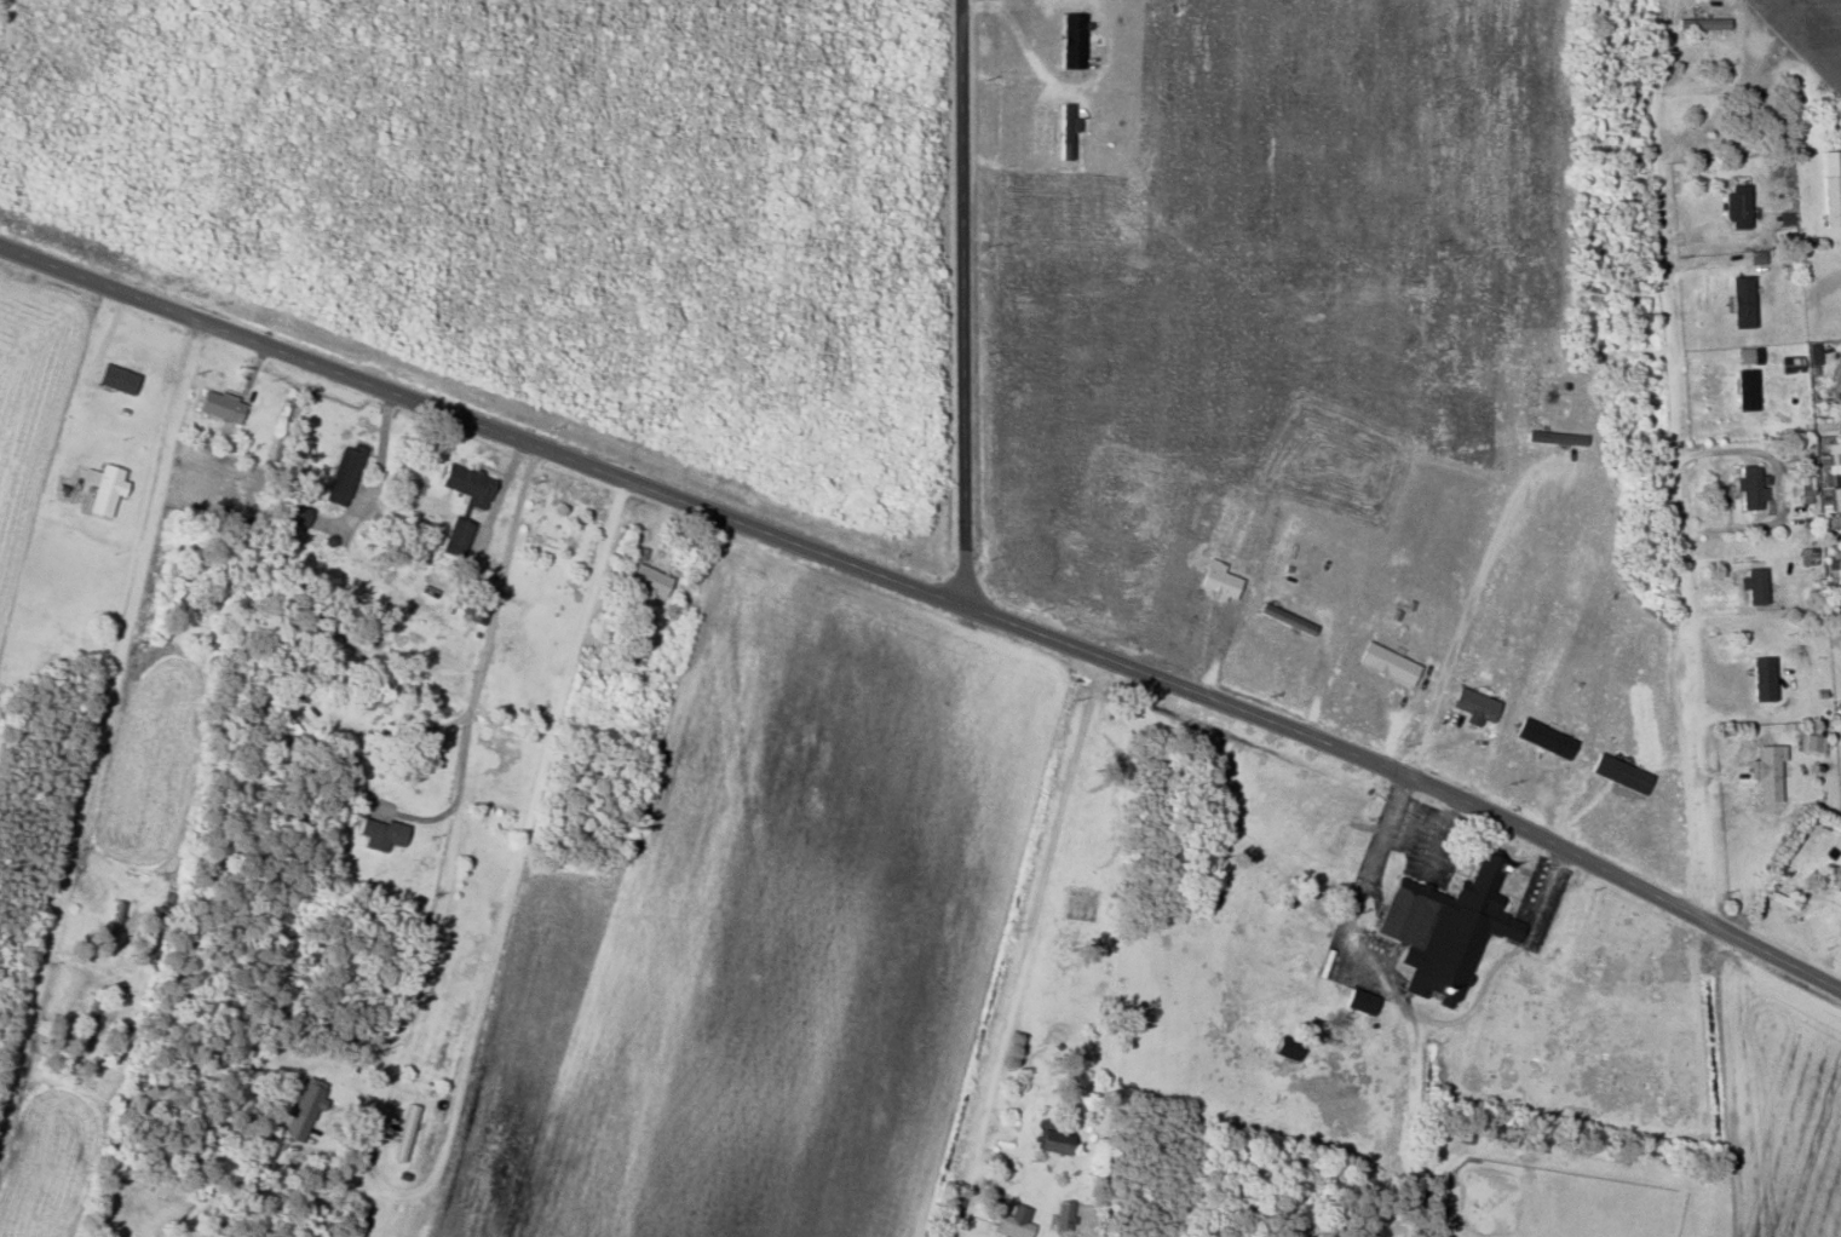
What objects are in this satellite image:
building: (1701, 23)
building: (1070, 40)
building: (1064, 130)
building: (1830, 186)
building: (1734, 205)
building: (1783, 223)
building: (1739, 300)
road: (961, 304)
building: (1747, 355)
building: (115, 378)
building: (1744, 389)
building: (218, 404)
road: (483, 426)
building: (1553, 437)
building: (340, 474)
building: (1829, 476)
building: (464, 483)
building: (1803, 484)
building: (1749, 485)
building: (100, 487)
road: (1680, 499)
building: (292, 513)
building: (456, 535)
building: (1805, 554)
building: (646, 580)
building: (1753, 585)
building: (1283, 617)
building: (1385, 662)
building: (1761, 678)
building: (1471, 703)
road: (97, 706)
building: (1541, 737)
building: (1810, 742)
building: (1765, 772)
road: (1411, 779)
road: (460, 788)
building: (378, 833)
road: (1028, 917)
building: (1440, 928)
building: (1840, 948)
road: (1498, 965)
road: (1394, 996)
building: (1357, 1000)
building: (1284, 1046)
building: (299, 1112)
building: (403, 1132)
building: (1051, 1141)
building: (948, 1215)
building: (1062, 1215)
building: (1013, 1222)

